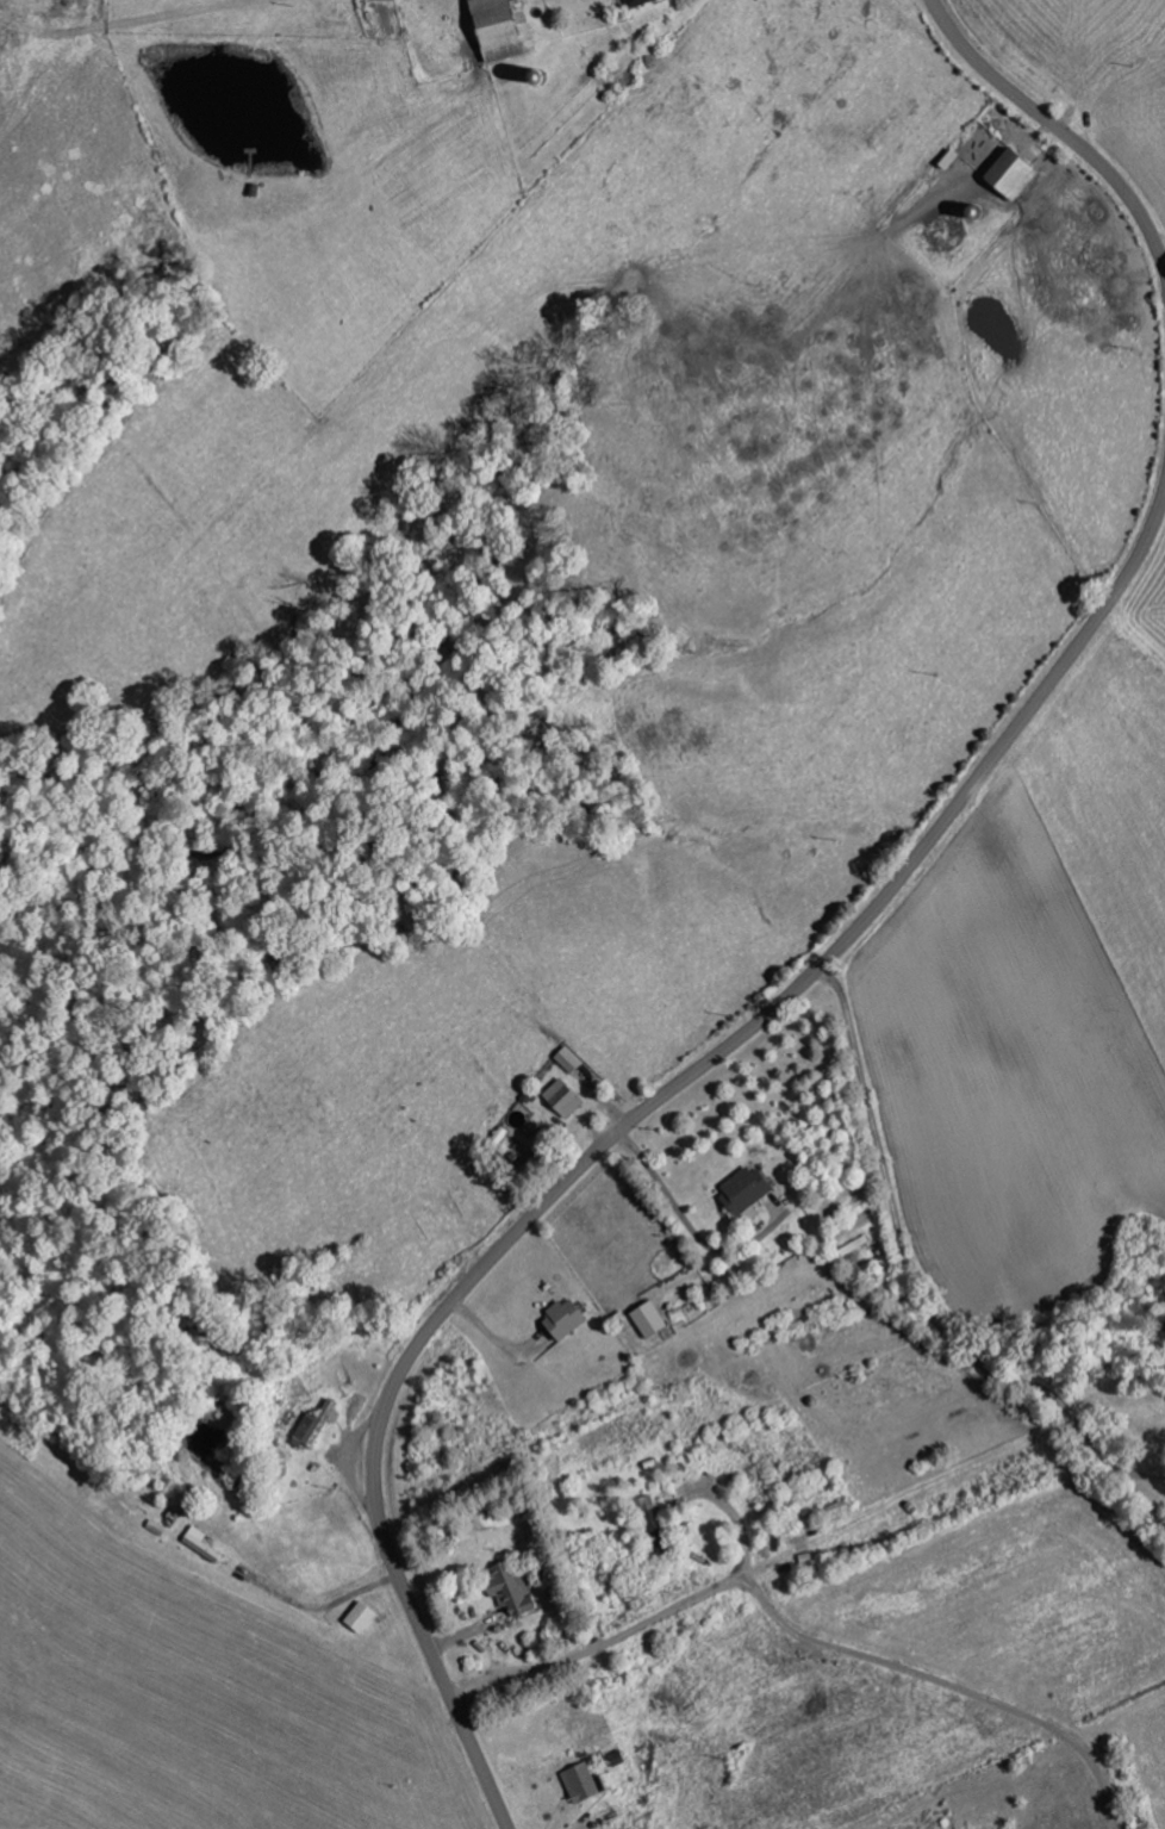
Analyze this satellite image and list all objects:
building: (635, 2)
building: (493, 30)
road: (1059, 130)
building: (1008, 173)
road: (932, 416)
building: (566, 1059)
building: (561, 1097)
road: (636, 1116)
building: (743, 1193)
building: (561, 1319)
building: (647, 1319)
building: (316, 1423)
building: (507, 1590)
building: (357, 1617)
building: (580, 1781)

